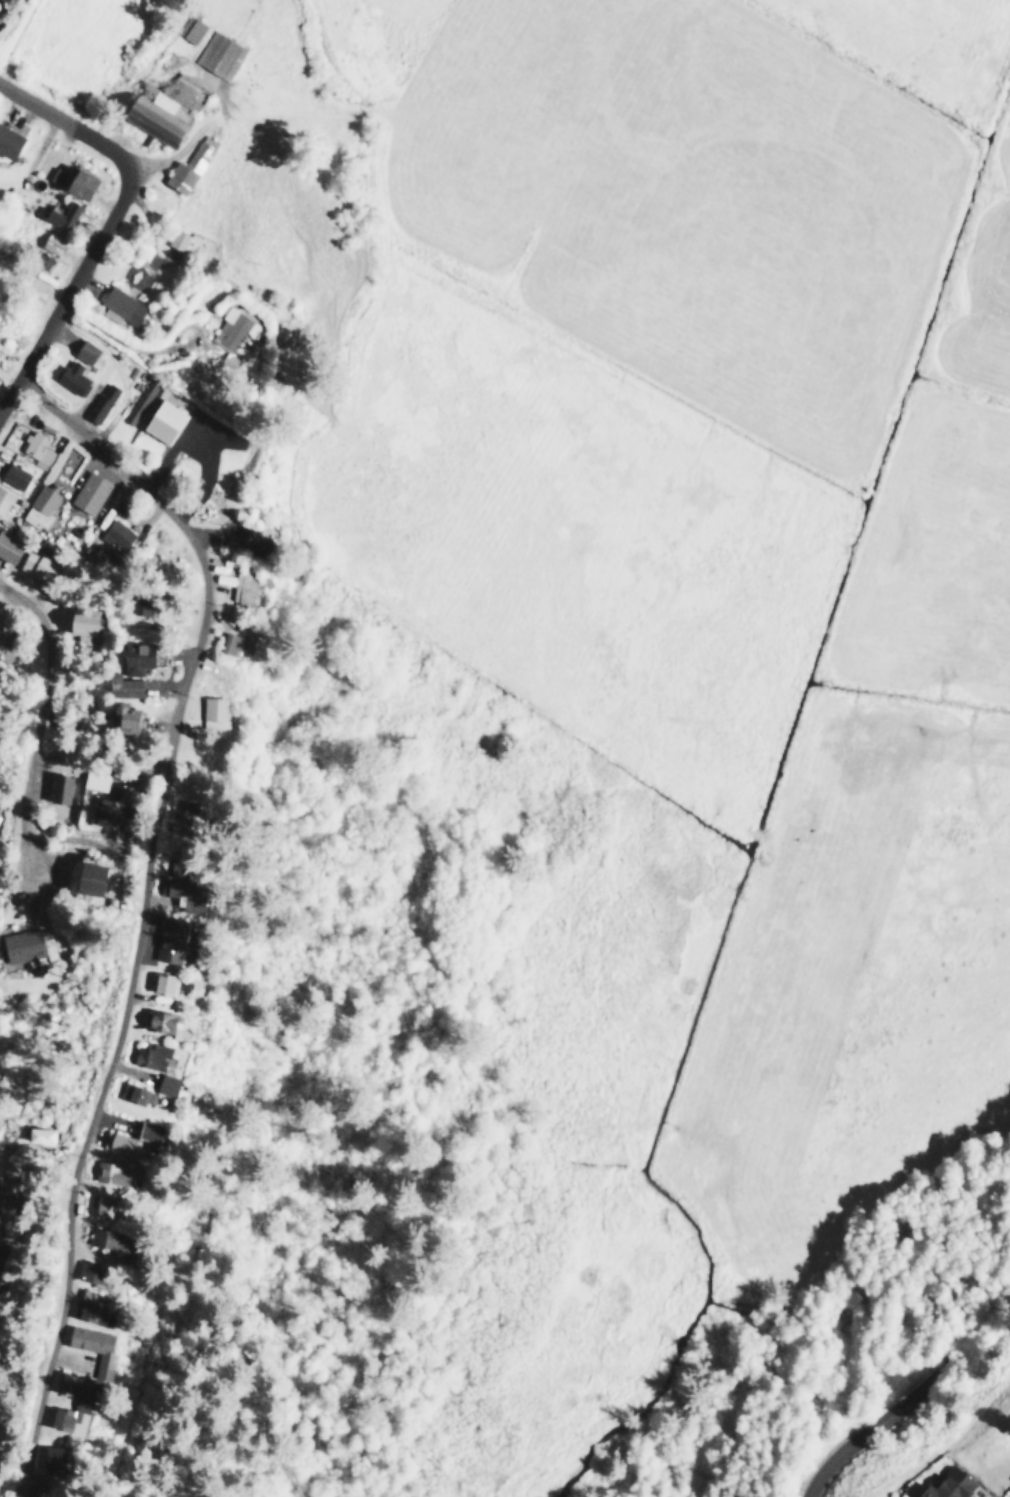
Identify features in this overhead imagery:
building: (1, 0)
building: (189, 28)
building: (218, 54)
building: (162, 105)
road: (67, 121)
building: (7, 140)
building: (187, 165)
building: (77, 181)
building: (61, 214)
building: (176, 238)
building: (50, 240)
road: (69, 293)
building: (119, 304)
building: (233, 330)
building: (83, 350)
building: (70, 377)
building: (146, 390)
building: (100, 401)
building: (161, 419)
building: (35, 448)
building: (12, 474)
building: (87, 491)
building: (3, 497)
building: (38, 505)
building: (116, 533)
building: (7, 545)
building: (35, 563)
building: (239, 585)
crop: (686, 591)
building: (78, 621)
building: (6, 642)
building: (226, 642)
building: (131, 655)
building: (118, 683)
building: (210, 711)
building: (121, 718)
road: (37, 725)
building: (91, 779)
building: (58, 786)
building: (102, 810)
building: (84, 876)
building: (176, 892)
road: (135, 902)
building: (163, 942)
building: (20, 944)
building: (157, 982)
building: (156, 1021)
building: (144, 1054)
building: (160, 1083)
building: (128, 1093)
building: (34, 1134)
building: (125, 1138)
building: (103, 1171)
building: (98, 1204)
building: (99, 1238)
building: (85, 1271)
building: (79, 1305)
building: (88, 1348)
building: (61, 1383)
road: (910, 1395)
building: (60, 1415)
building: (45, 1456)
road: (9, 1465)
road: (14, 1482)
building: (945, 1484)

